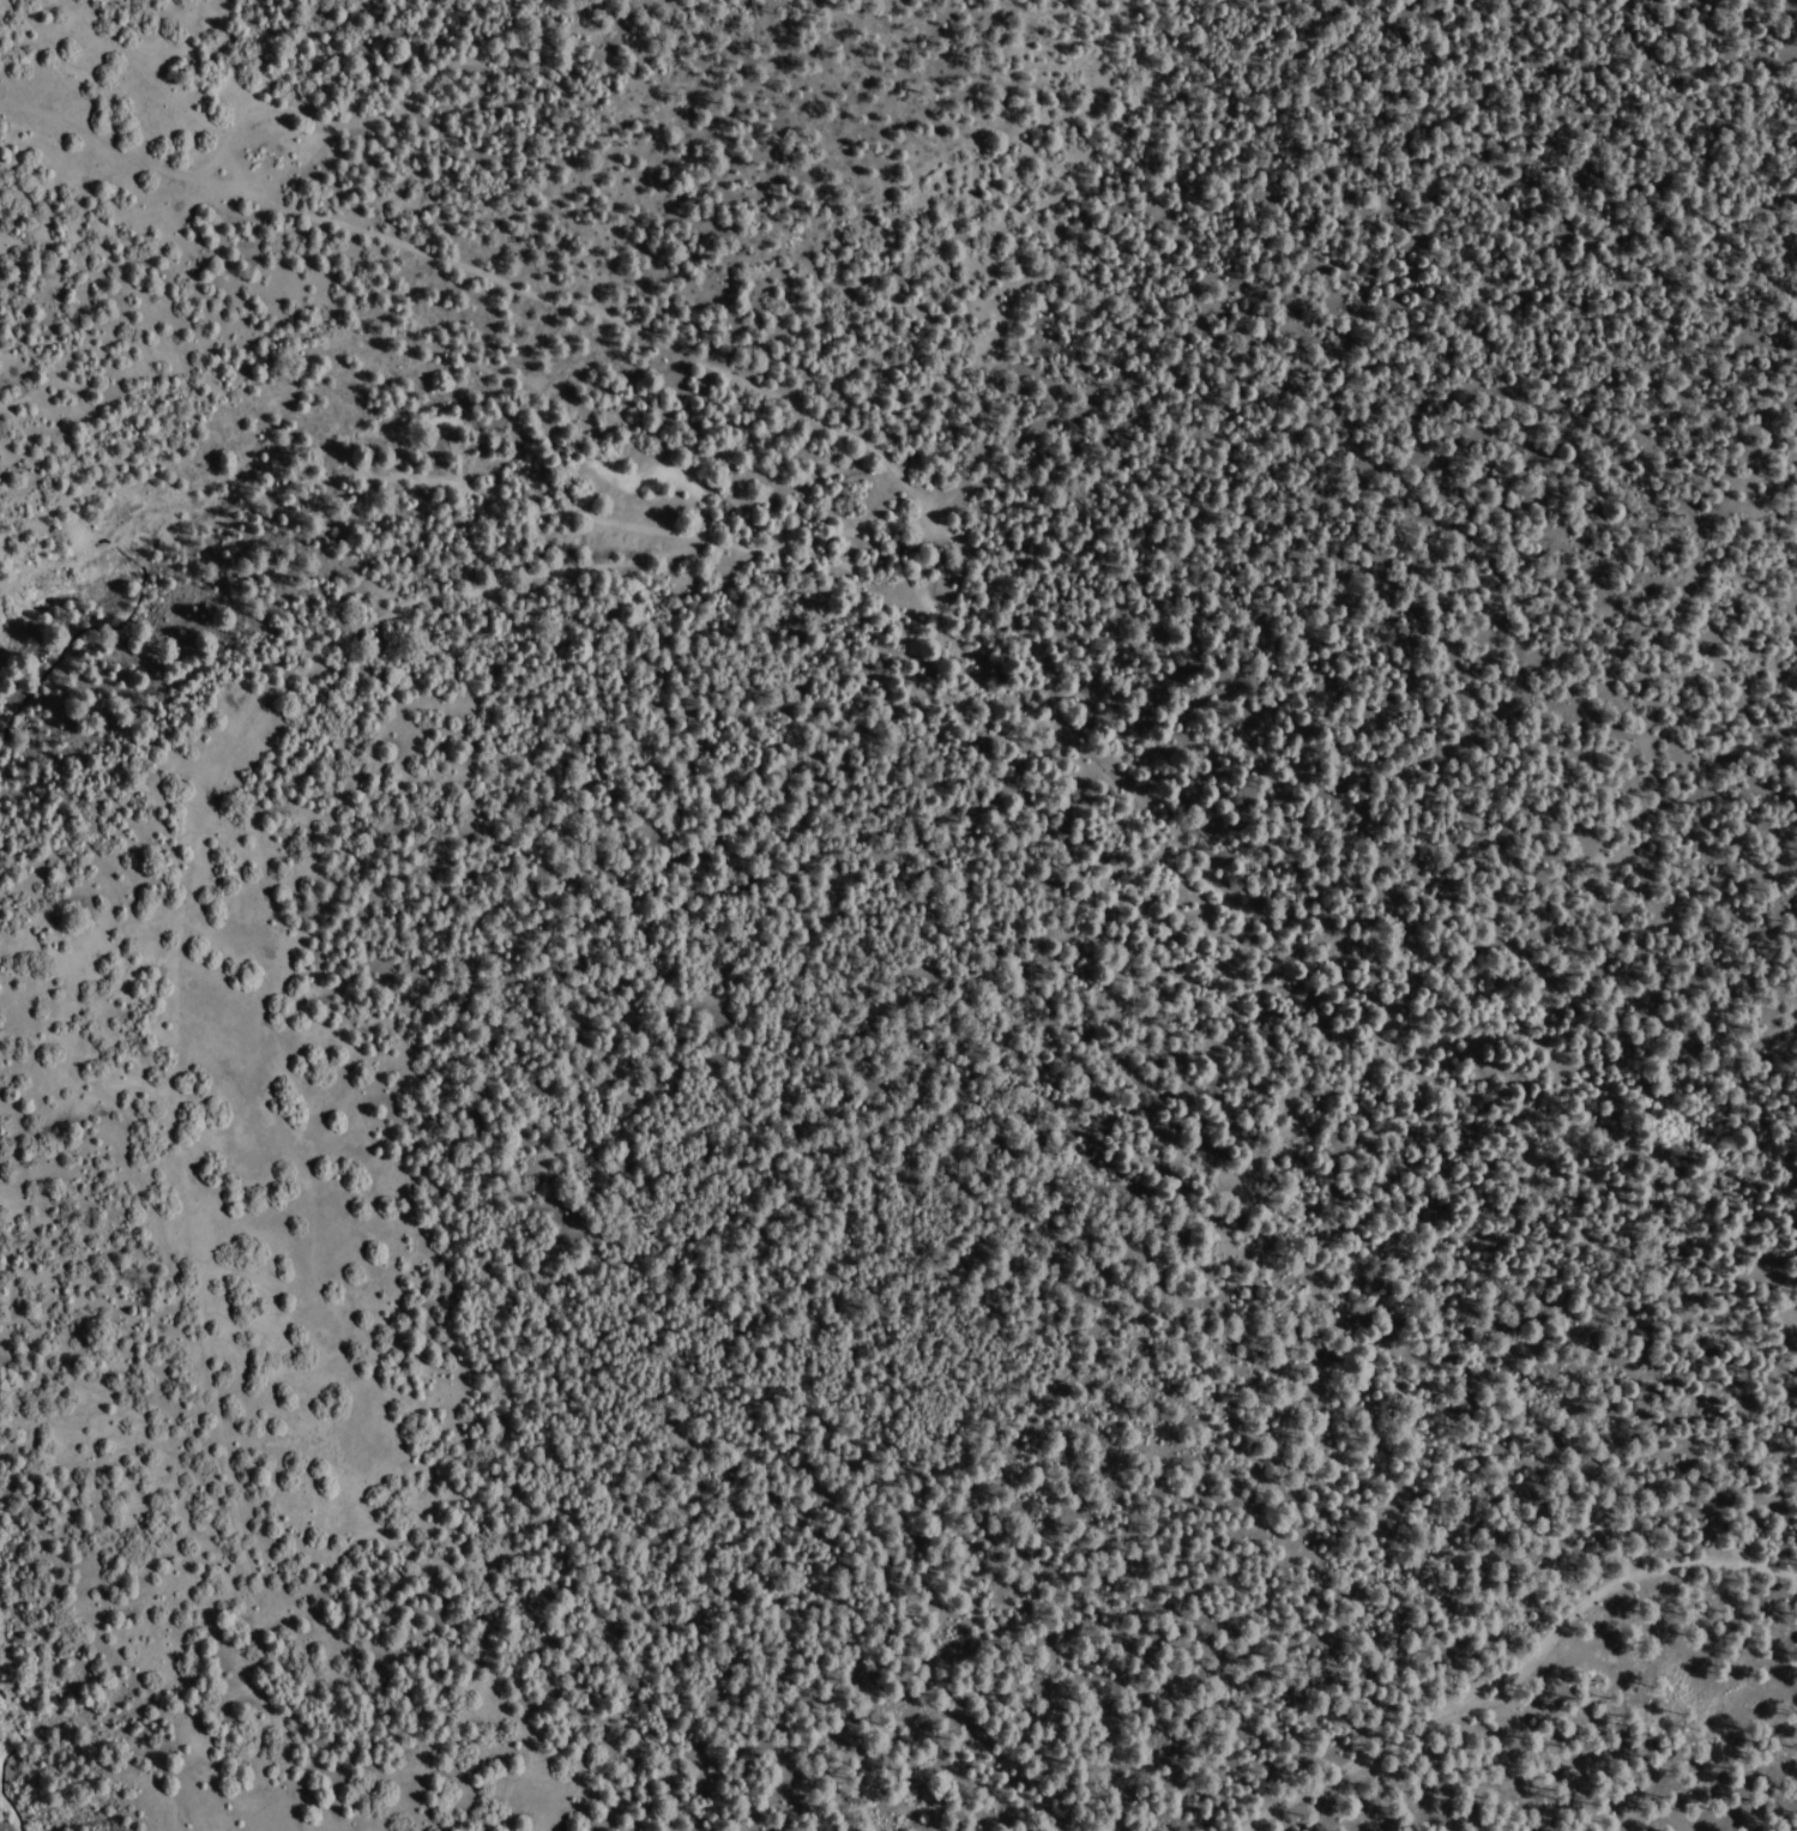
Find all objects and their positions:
road: (1512, 1662)

